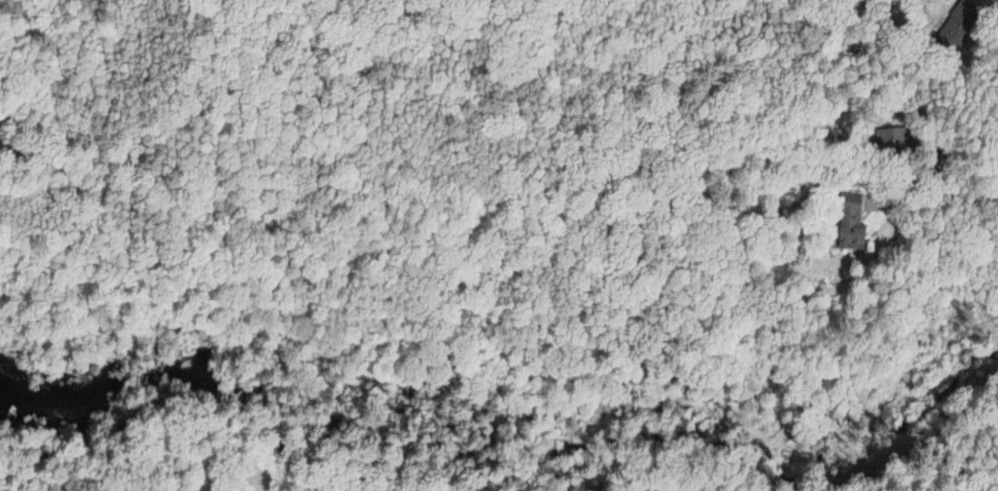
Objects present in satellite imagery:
building: (960, 21)
building: (849, 225)

